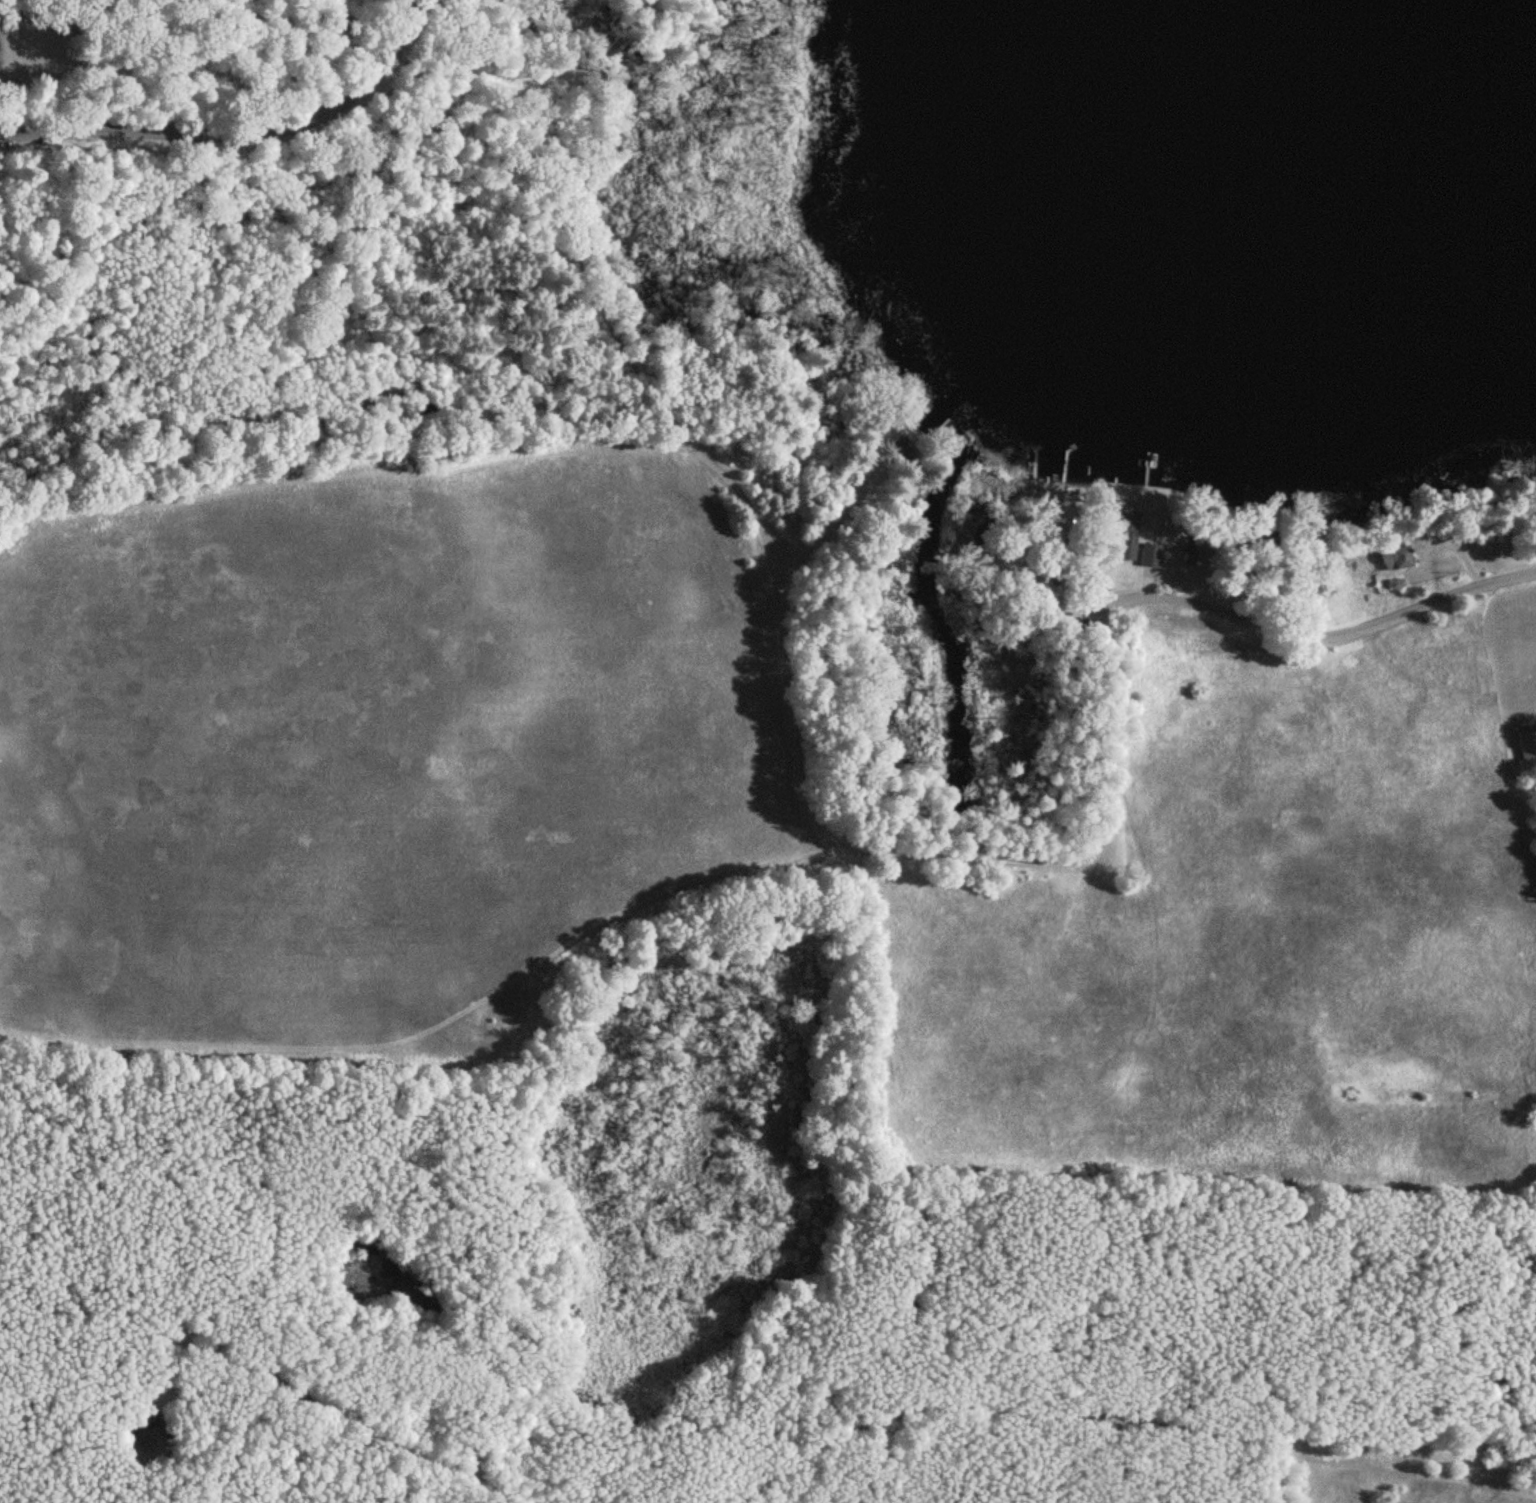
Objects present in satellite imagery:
road: (238, 131)
building: (902, 454)
building: (1123, 535)
building: (1189, 551)
building: (1148, 556)
building: (1394, 559)
road: (1312, 637)
building: (1528, 745)

